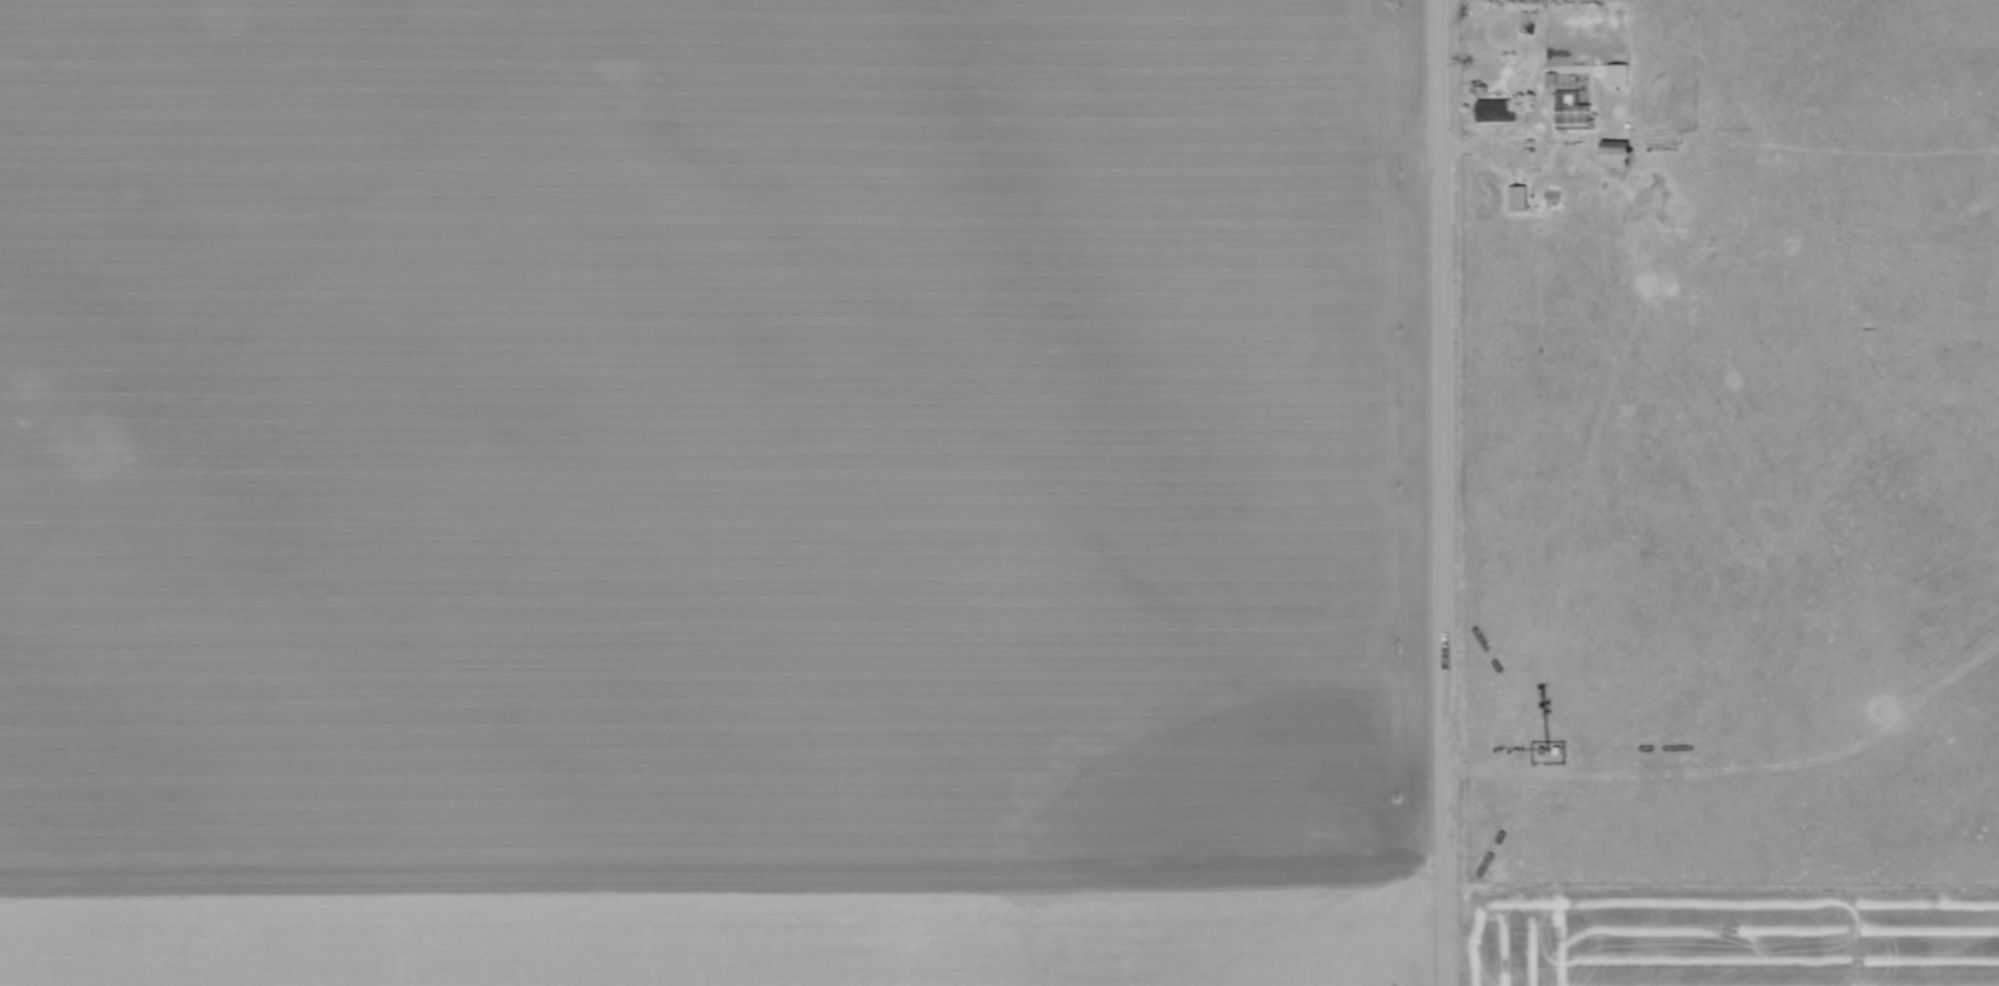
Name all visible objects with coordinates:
building: (1615, 76)
building: (1493, 110)
building: (1570, 111)
road: (1492, 151)
building: (1611, 154)
building: (1516, 198)
crop: (712, 493)
road: (1443, 493)
crop: (1735, 938)

